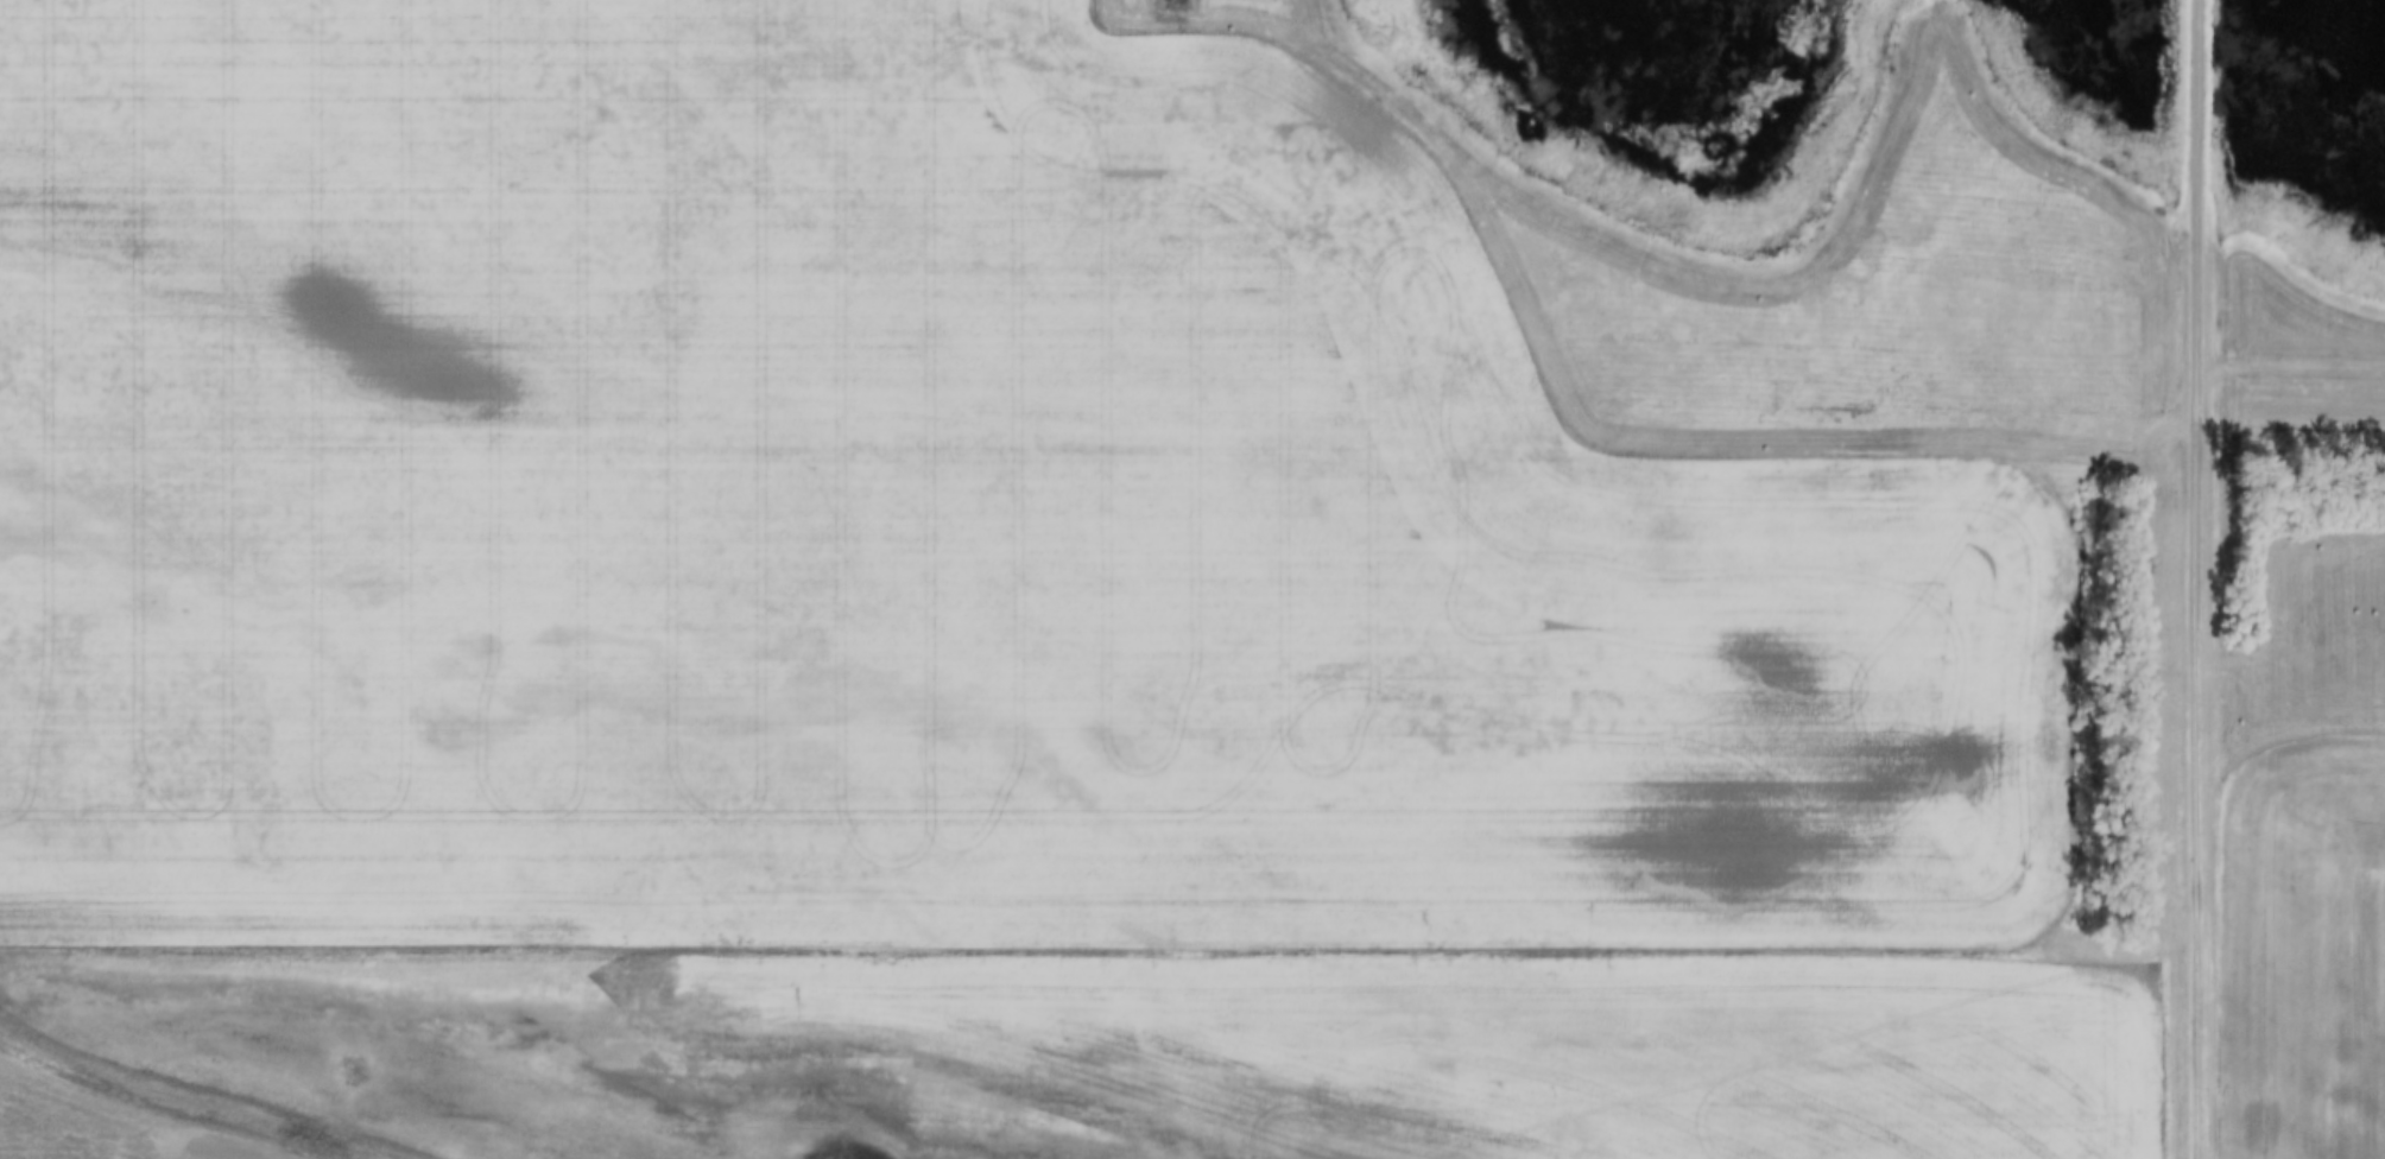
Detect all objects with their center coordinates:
road: (2194, 579)
crop: (1071, 1056)

